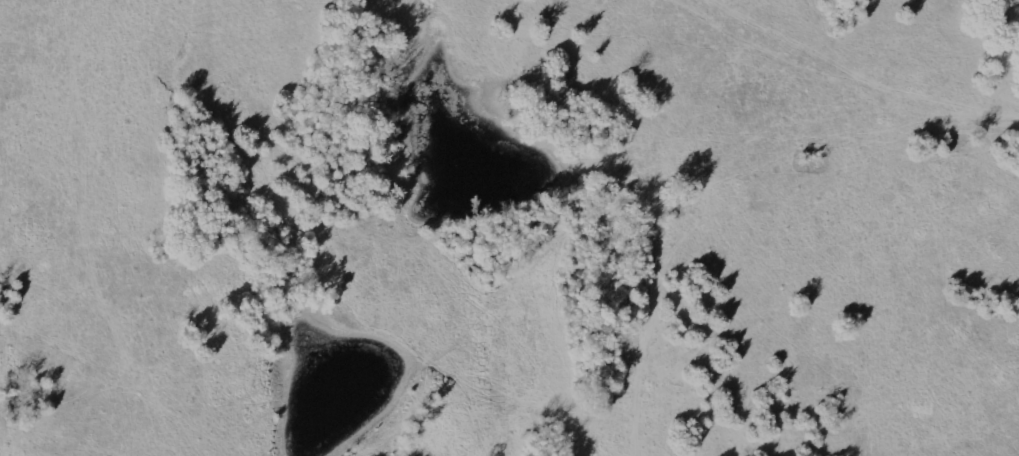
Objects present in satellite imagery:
road: (841, 54)

